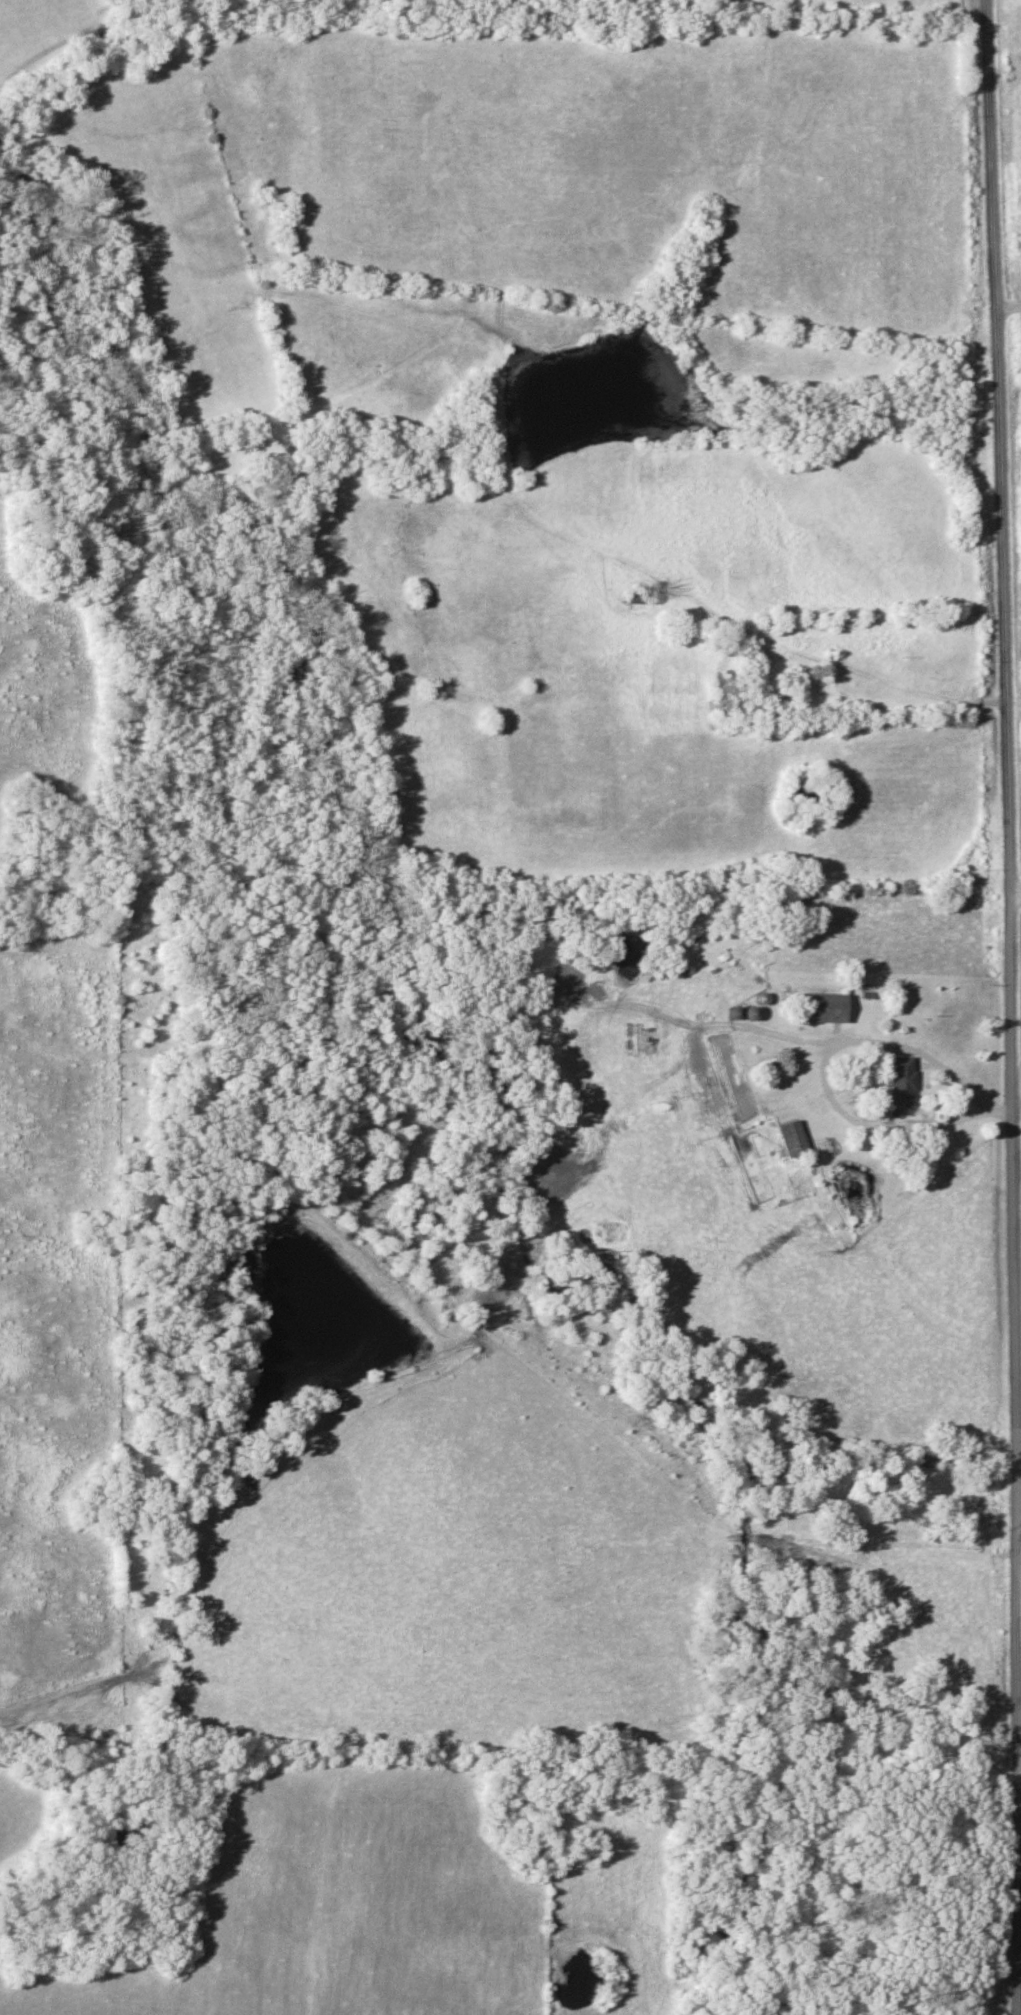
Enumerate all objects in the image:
road: (1005, 313)
building: (641, 599)
road: (885, 680)
road: (1016, 896)
building: (821, 1007)
road: (1012, 1007)
building: (901, 1080)
road: (834, 1101)
road: (1017, 1108)
road: (1004, 1116)
building: (792, 1138)
road: (1019, 1848)

